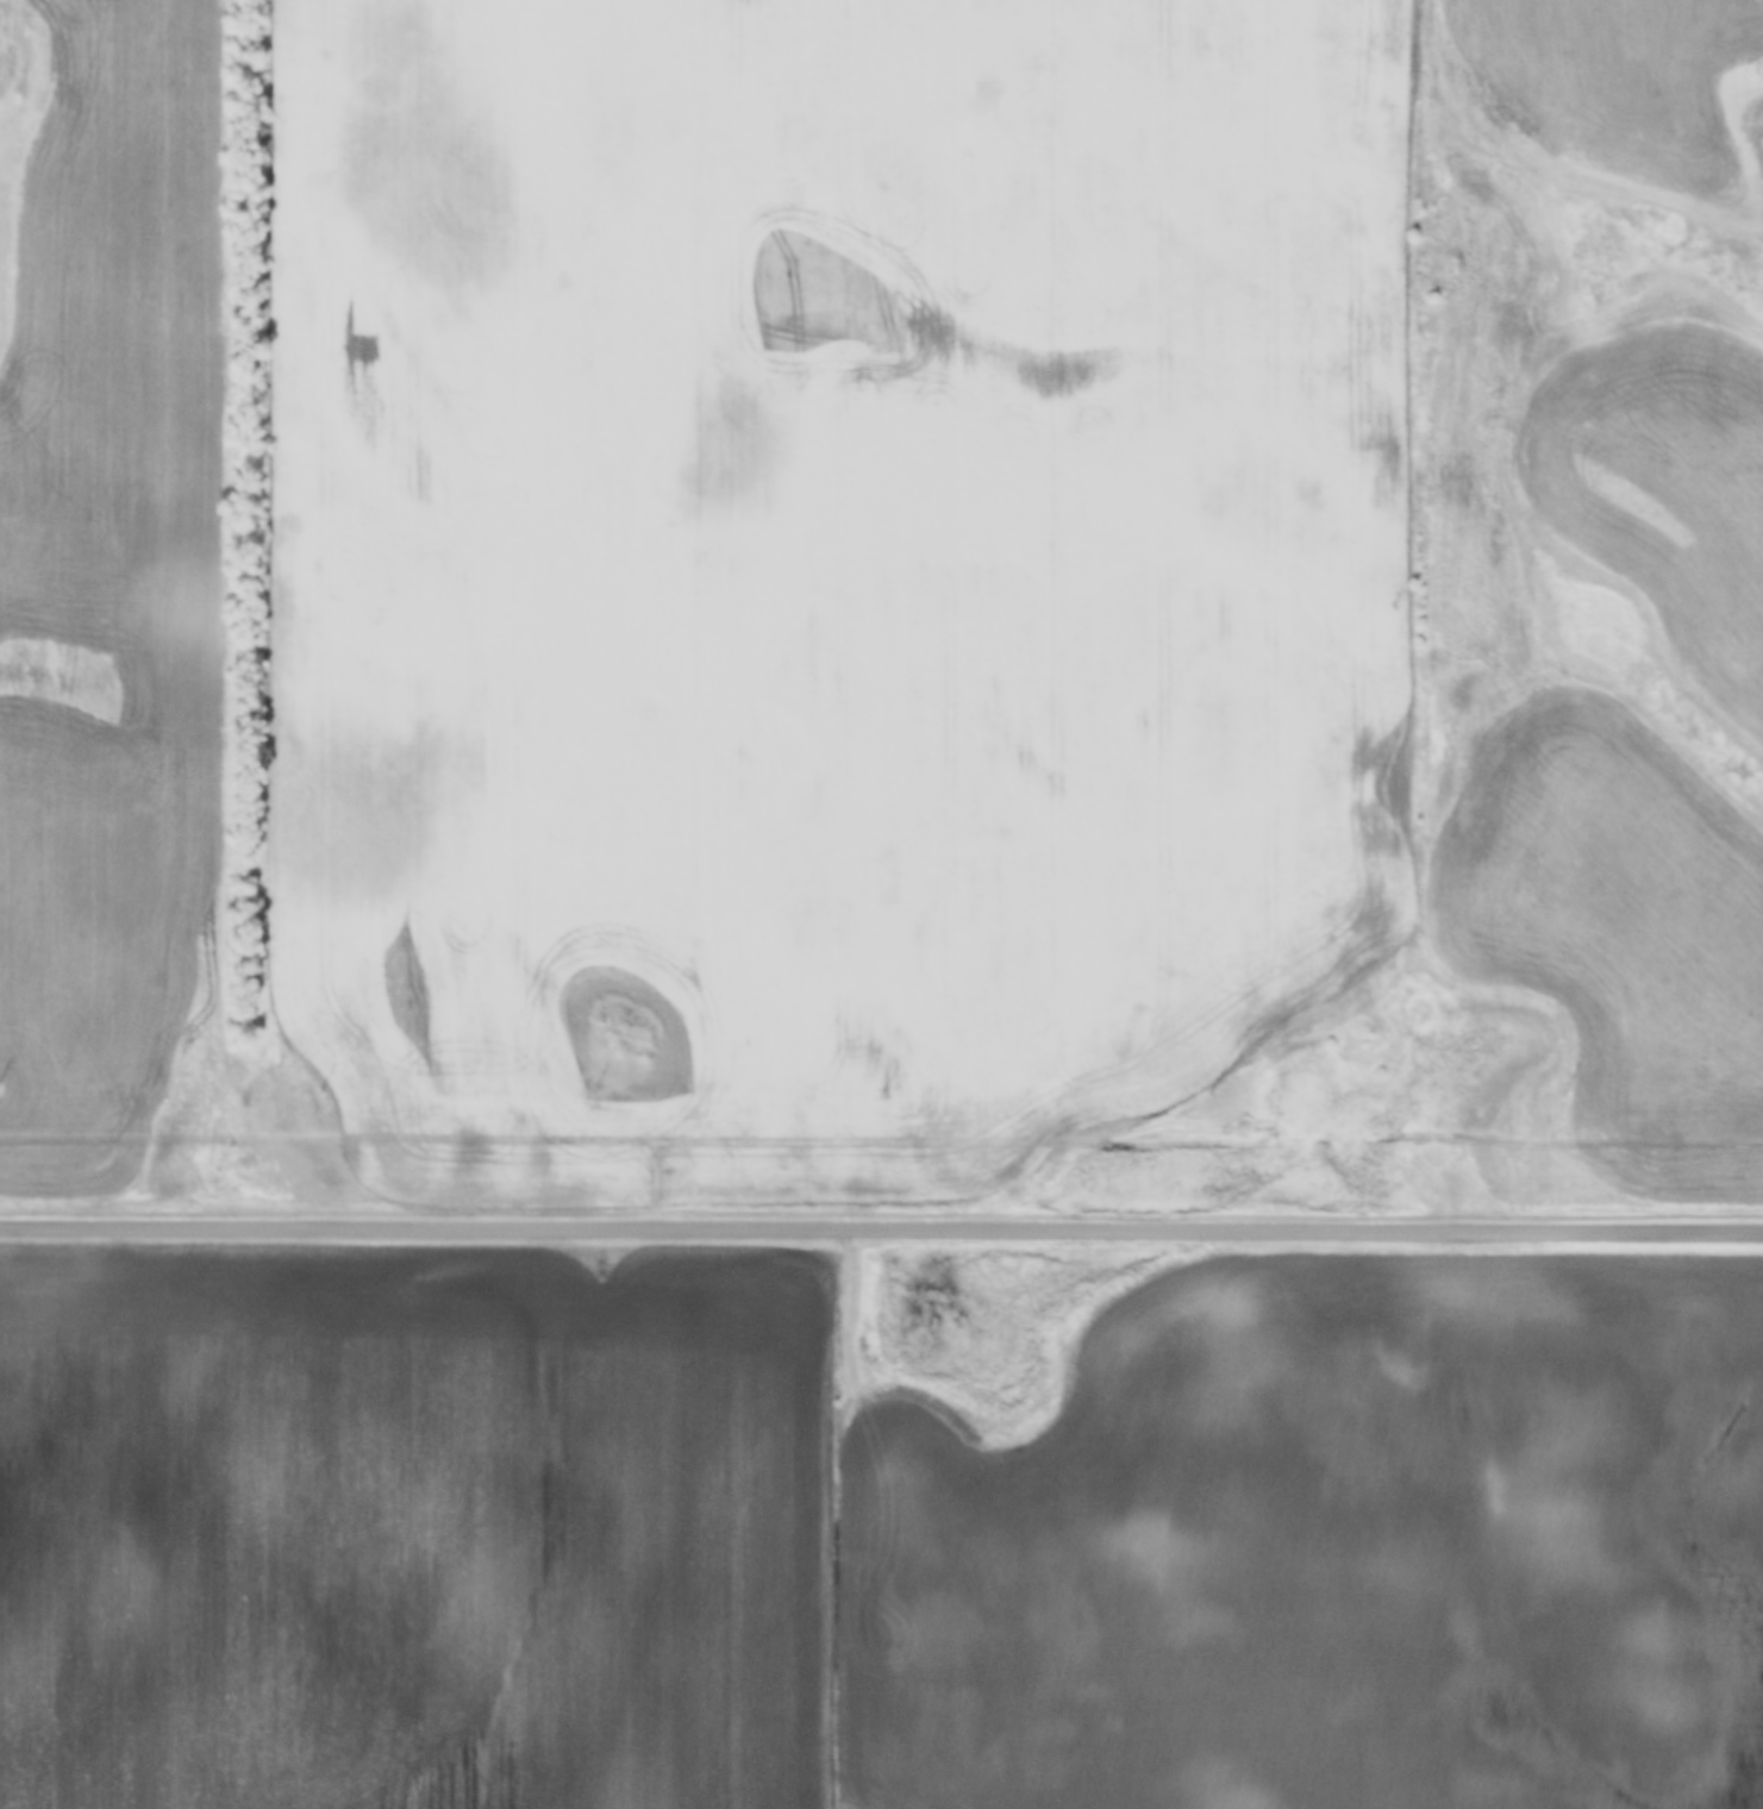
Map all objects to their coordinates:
road: (881, 1235)

